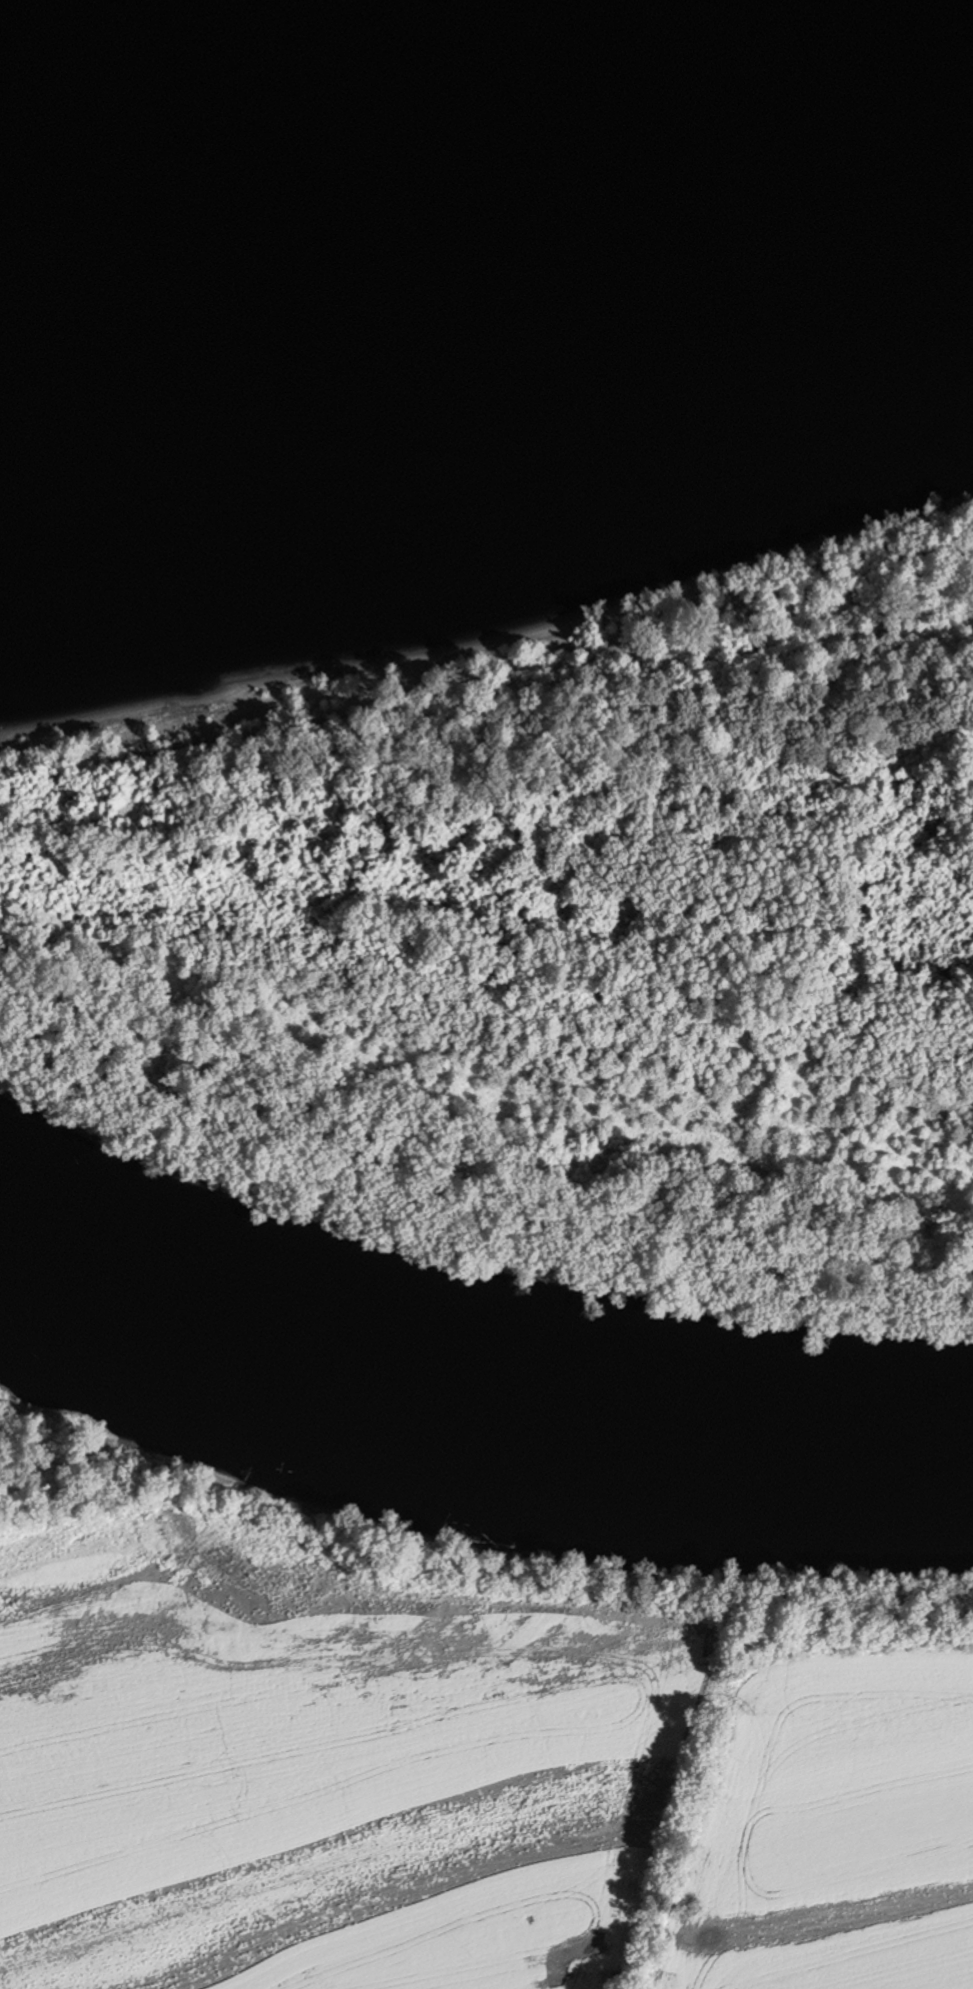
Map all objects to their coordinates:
river: (354, 92)

